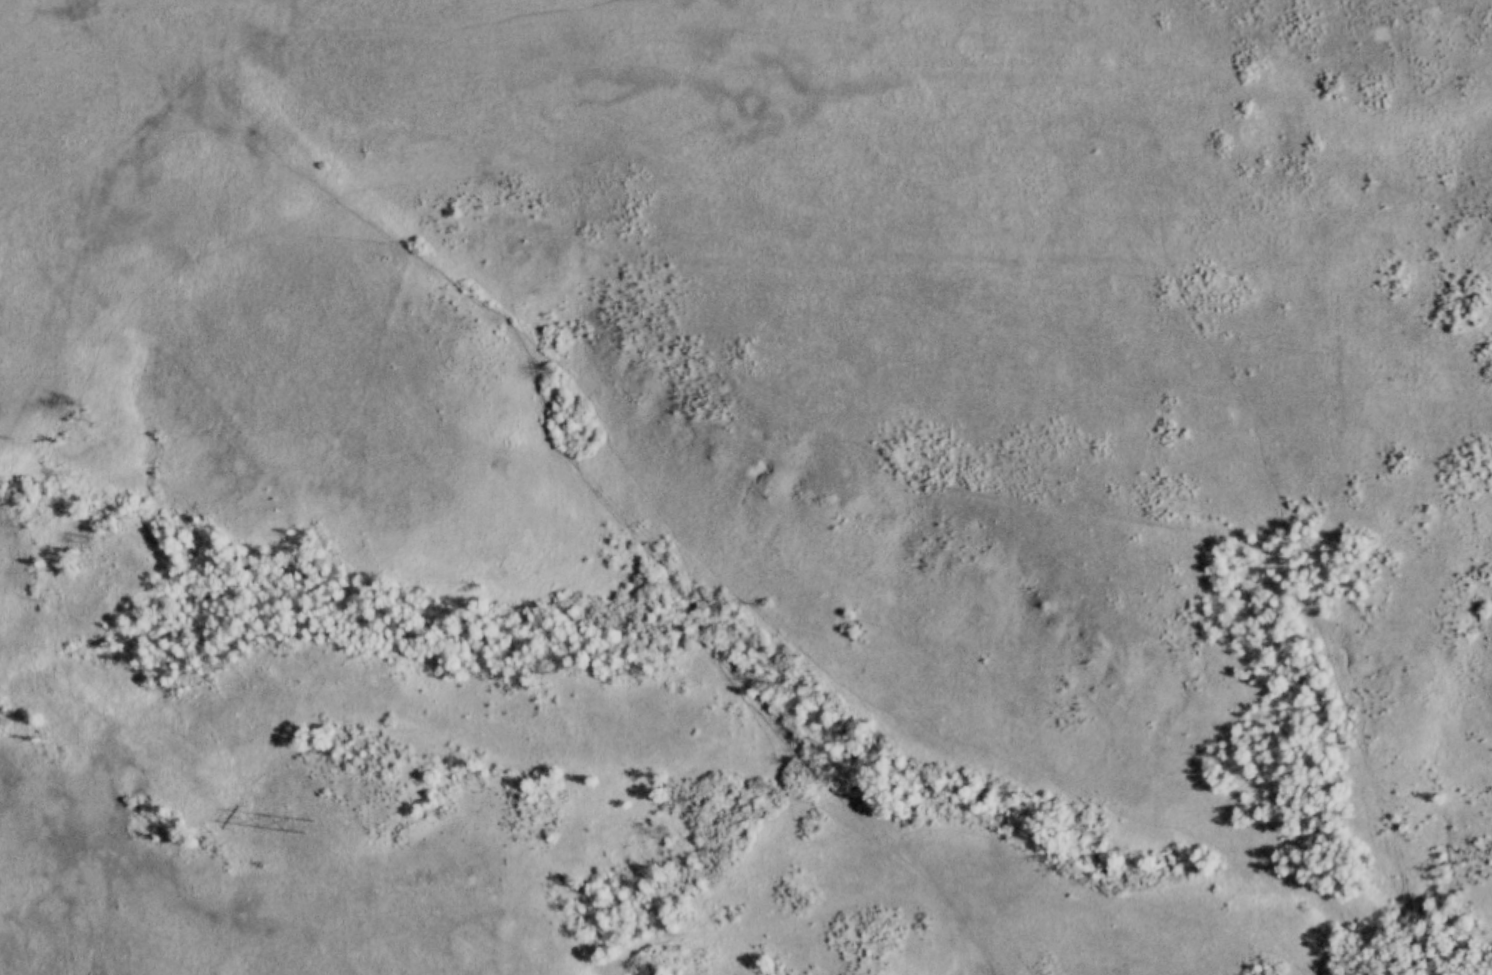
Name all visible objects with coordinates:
power tower: (314, 829)

